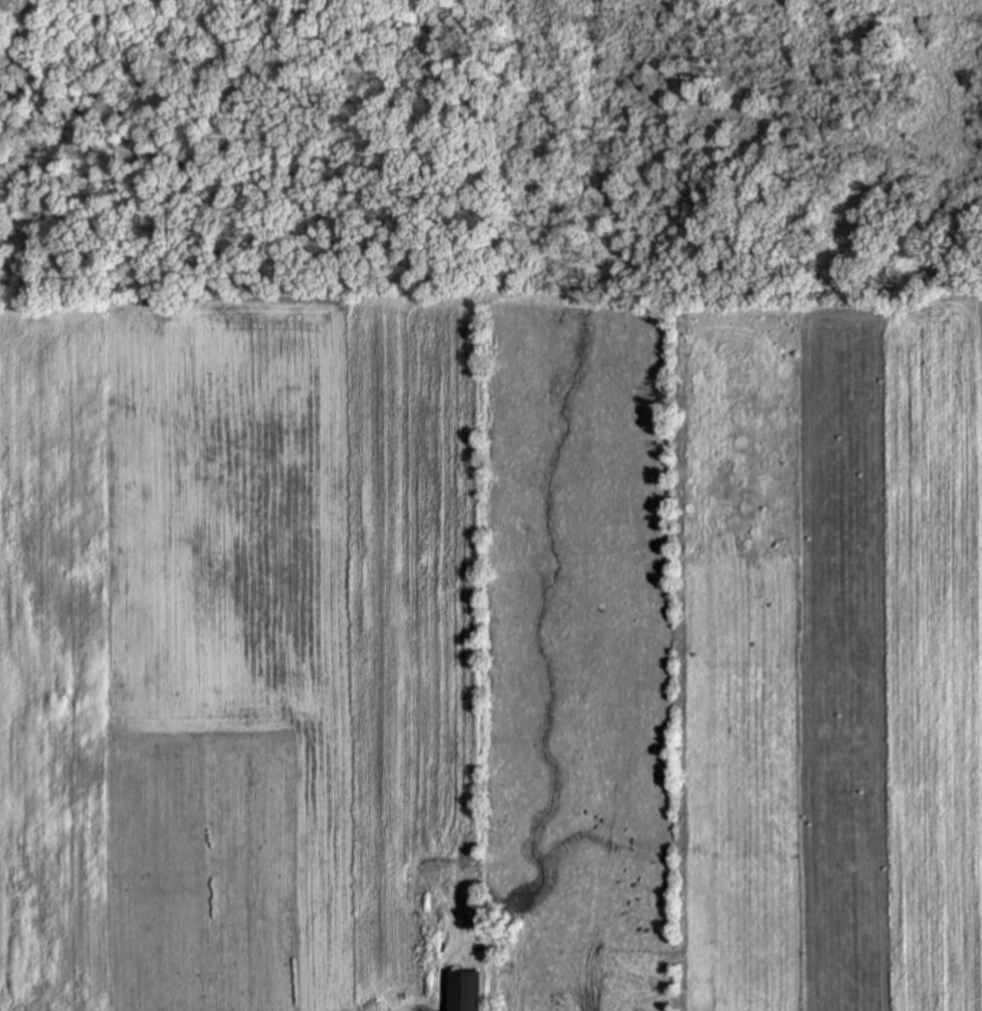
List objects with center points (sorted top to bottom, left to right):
building: (464, 992)

